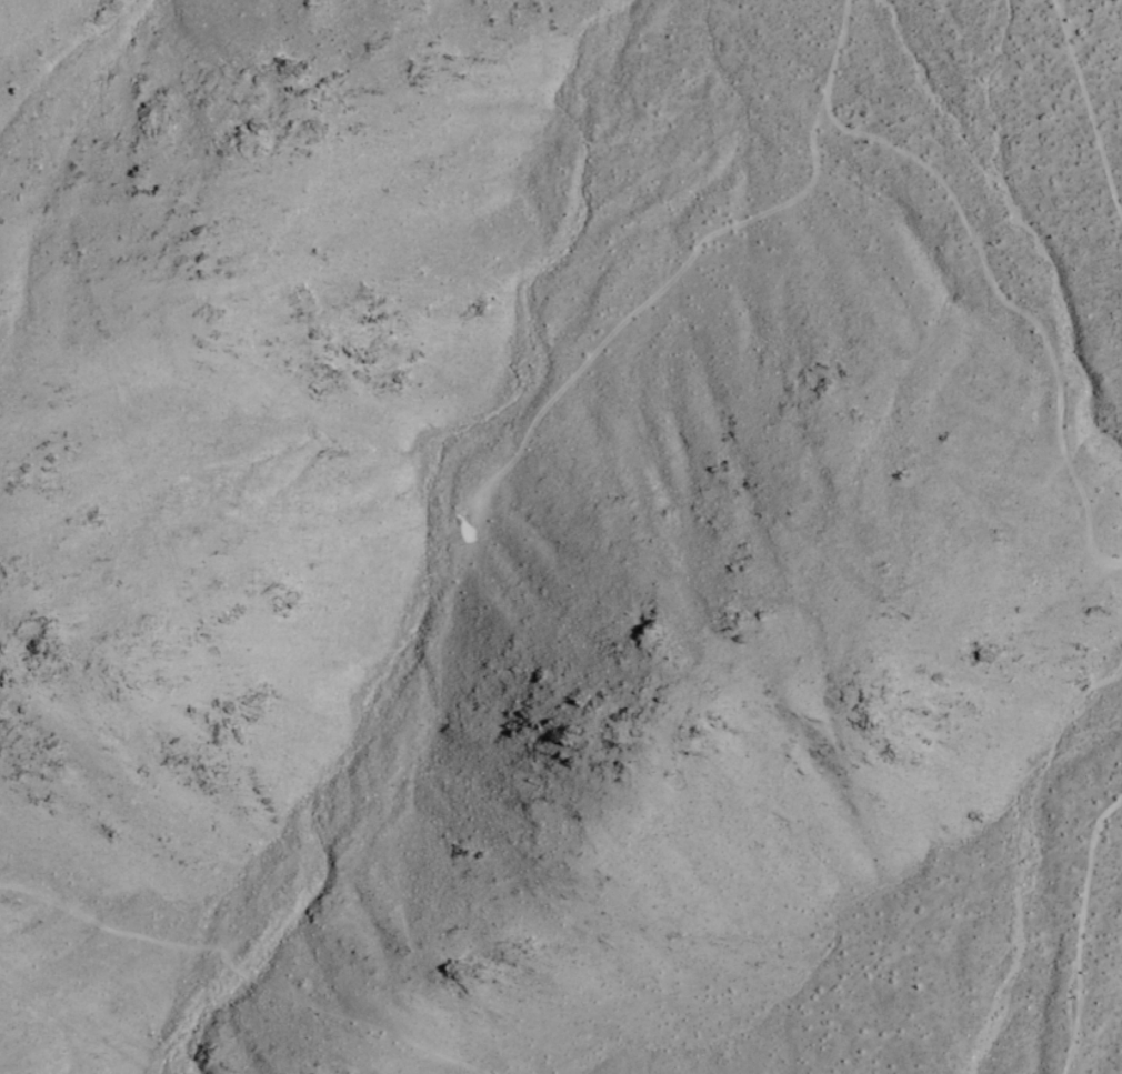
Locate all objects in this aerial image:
road: (996, 523)

